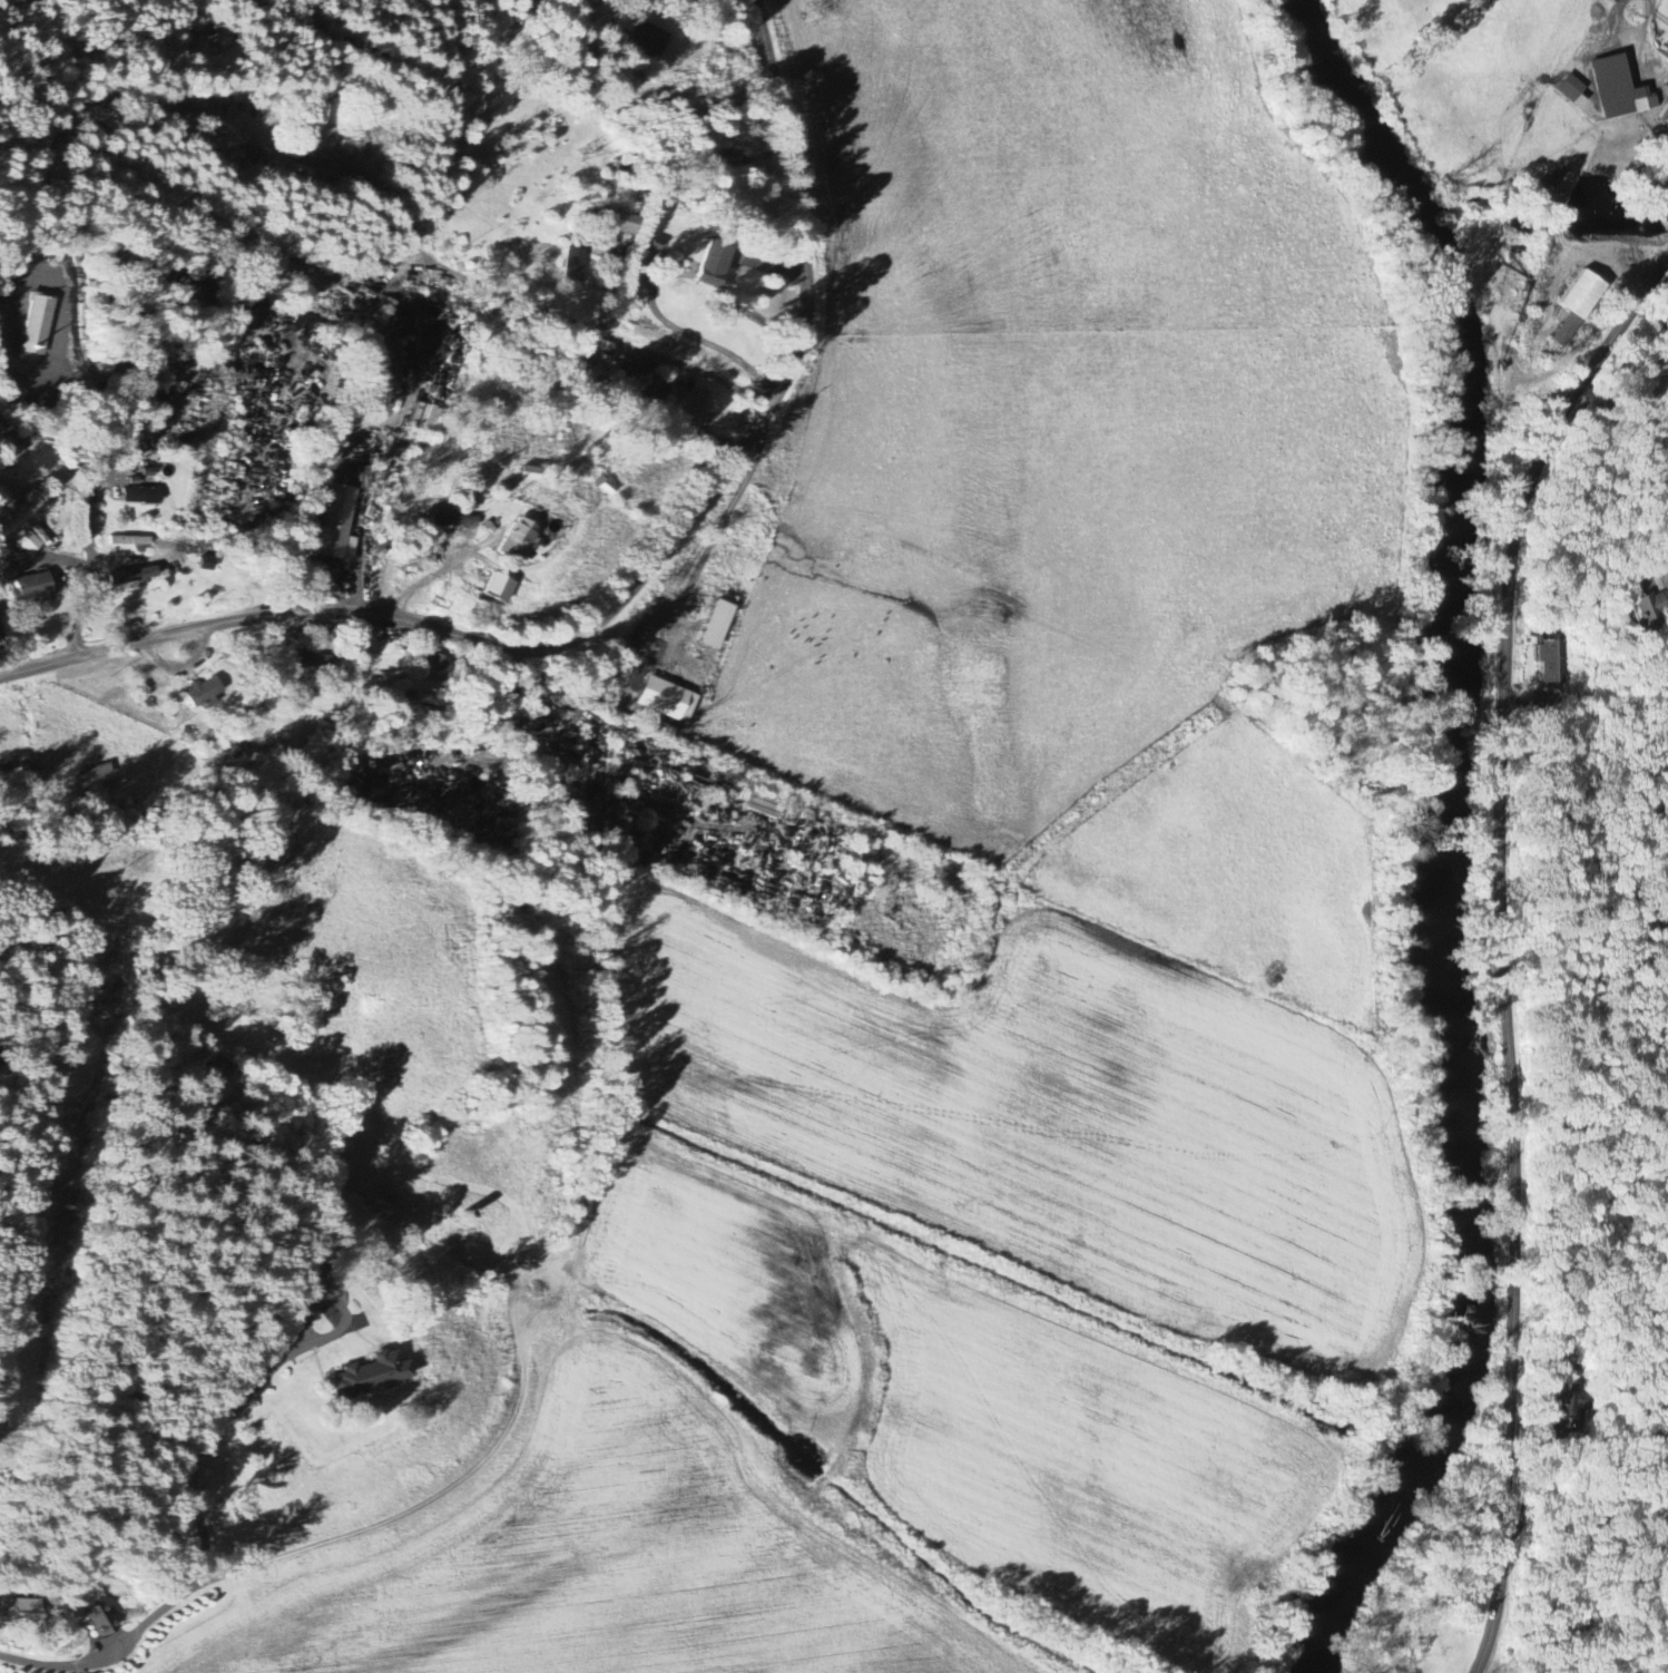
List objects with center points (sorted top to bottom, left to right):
power tower: (813, 11)
building: (1613, 89)
building: (1570, 91)
building: (1664, 115)
river: (1371, 148)
power tower: (581, 153)
building: (1646, 187)
building: (617, 222)
building: (709, 265)
building: (571, 266)
road: (509, 297)
building: (1573, 304)
building: (35, 322)
road: (696, 339)
road: (686, 366)
power tower: (209, 375)
building: (697, 412)
building: (9, 458)
building: (601, 486)
building: (137, 496)
road: (90, 507)
building: (335, 524)
building: (512, 539)
building: (203, 564)
road: (428, 580)
building: (29, 588)
building: (491, 588)
road: (626, 594)
building: (710, 625)
building: (1551, 663)
building: (432, 668)
building: (200, 695)
building: (663, 701)
building: (94, 774)
power tower: (108, 873)
river: (1448, 901)
road: (1507, 949)
power tower: (37, 1205)
building: (353, 1378)
building: (1572, 1403)
road: (205, 1555)
river: (1347, 1581)
building: (22, 1620)
building: (100, 1620)

